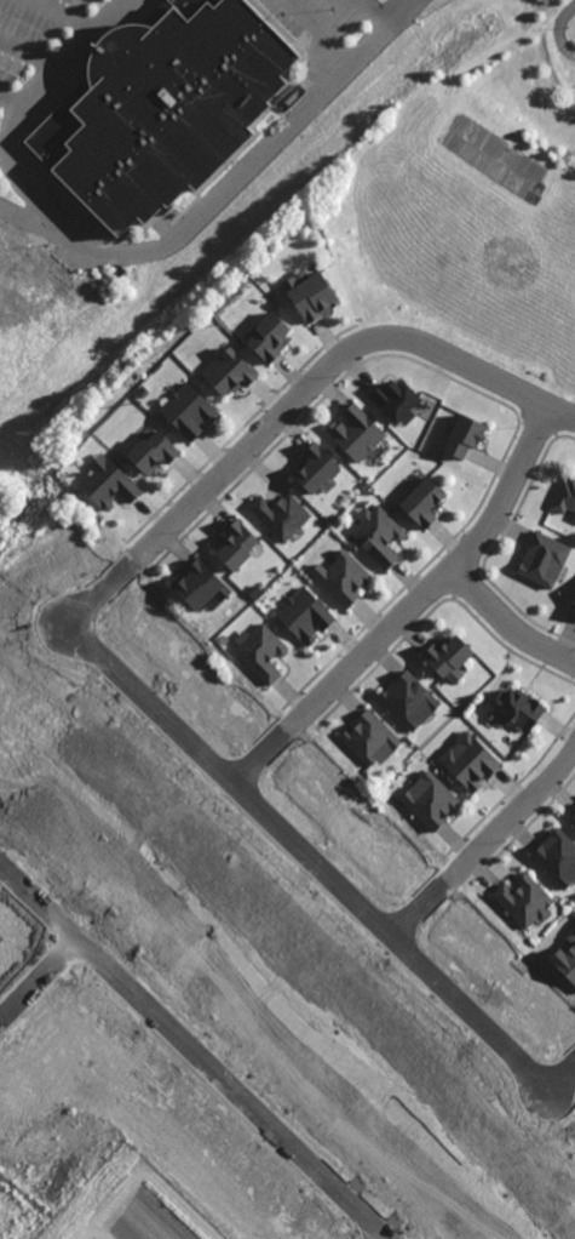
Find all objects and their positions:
road: (372, 13)
road: (67, 15)
road: (317, 33)
road: (557, 33)
road: (30, 53)
road: (13, 98)
building: (161, 108)
road: (16, 119)
road: (5, 152)
road: (226, 187)
building: (311, 295)
building: (270, 336)
building: (229, 372)
road: (295, 395)
building: (396, 401)
building: (189, 410)
building: (356, 432)
building: (465, 435)
building: (154, 451)
building: (316, 468)
building: (108, 483)
building: (565, 496)
building: (422, 502)
building: (280, 515)
building: (378, 533)
building: (237, 544)
building: (544, 559)
building: (343, 577)
building: (201, 587)
road: (407, 607)
building: (573, 610)
building: (305, 616)
road: (505, 623)
building: (261, 652)
building: (449, 657)
building: (409, 700)
building: (517, 709)
building: (370, 738)
building: (470, 761)
building: (431, 800)
building: (574, 816)
road: (482, 841)
building: (557, 857)
road: (316, 867)
building: (524, 900)
building: (567, 959)
road: (33, 981)
road: (185, 1060)

